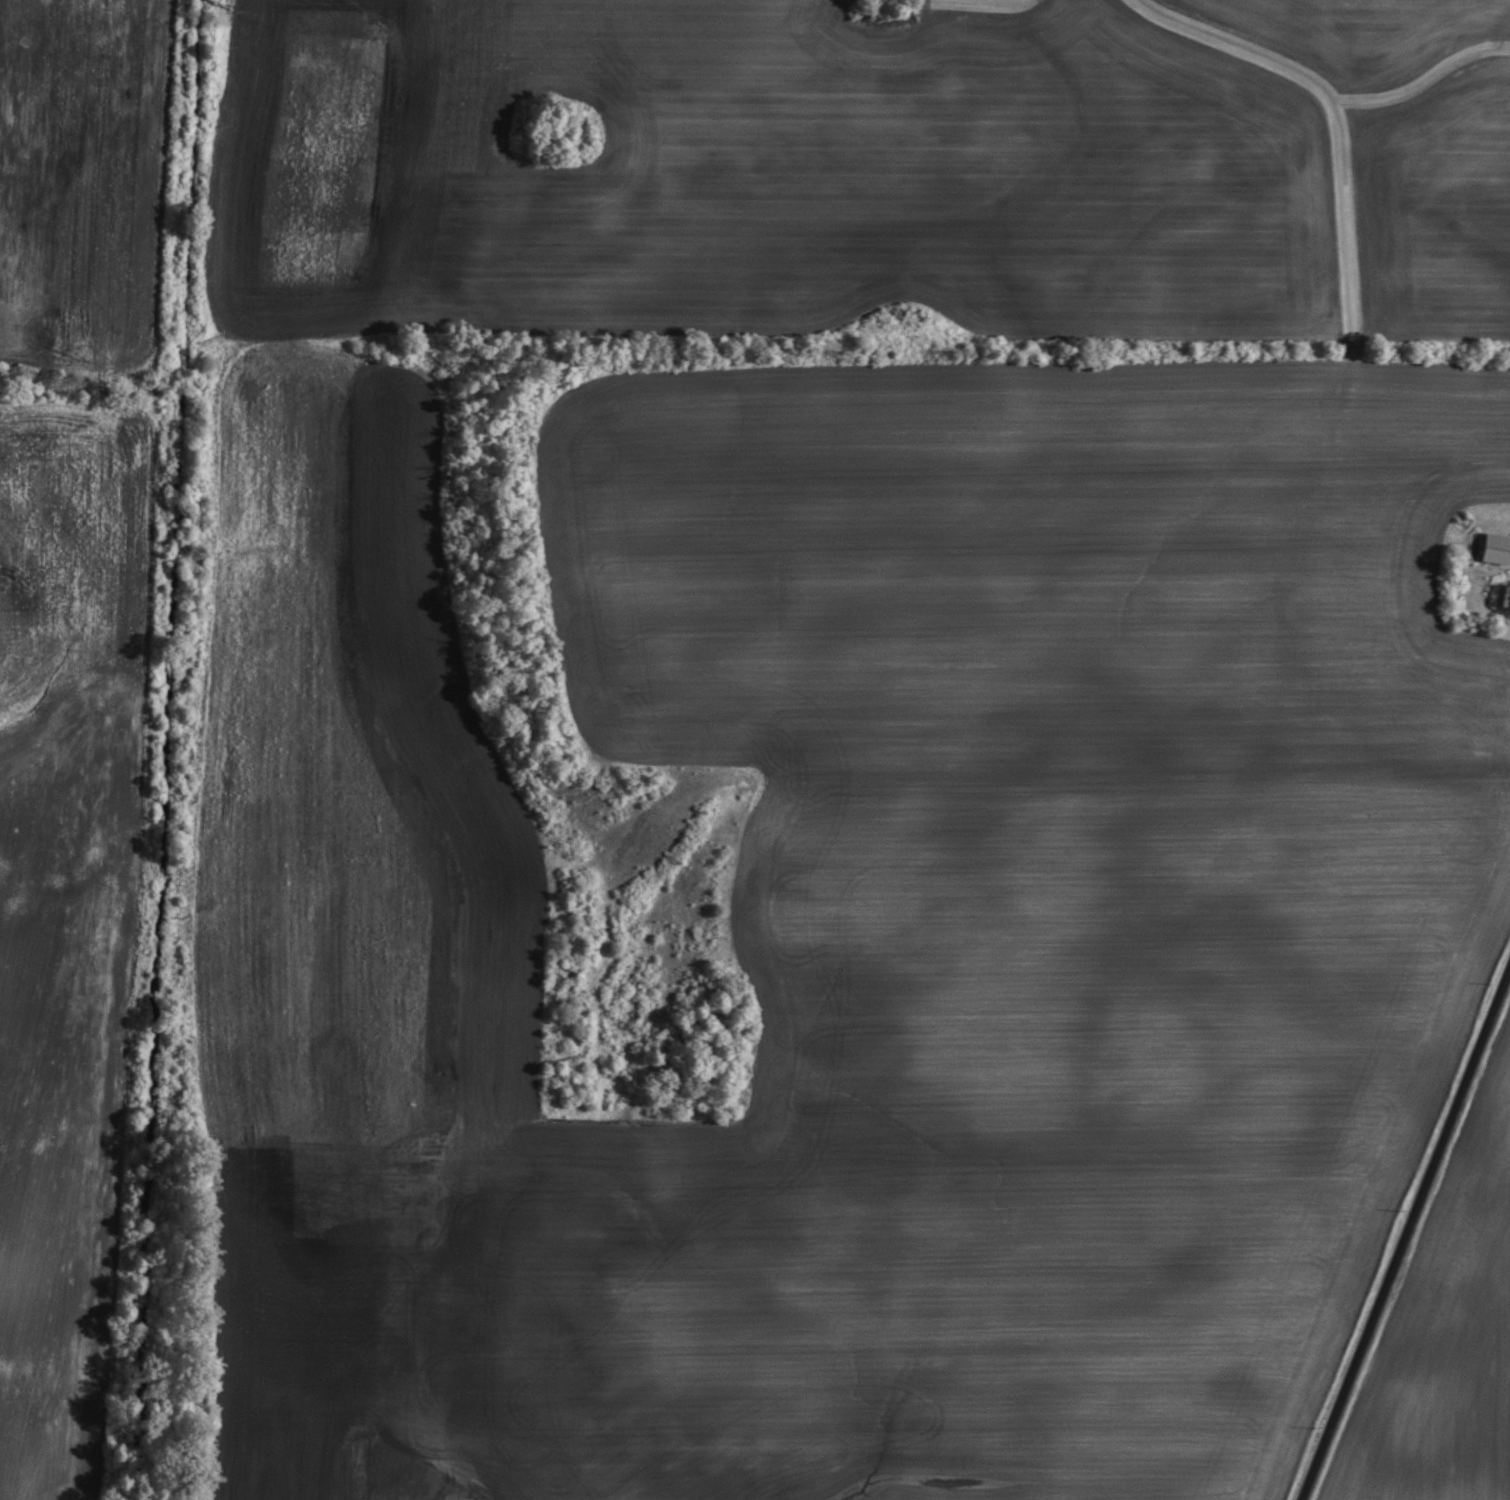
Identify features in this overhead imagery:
building: (1490, 547)
building: (1499, 594)
road: (1403, 1230)

